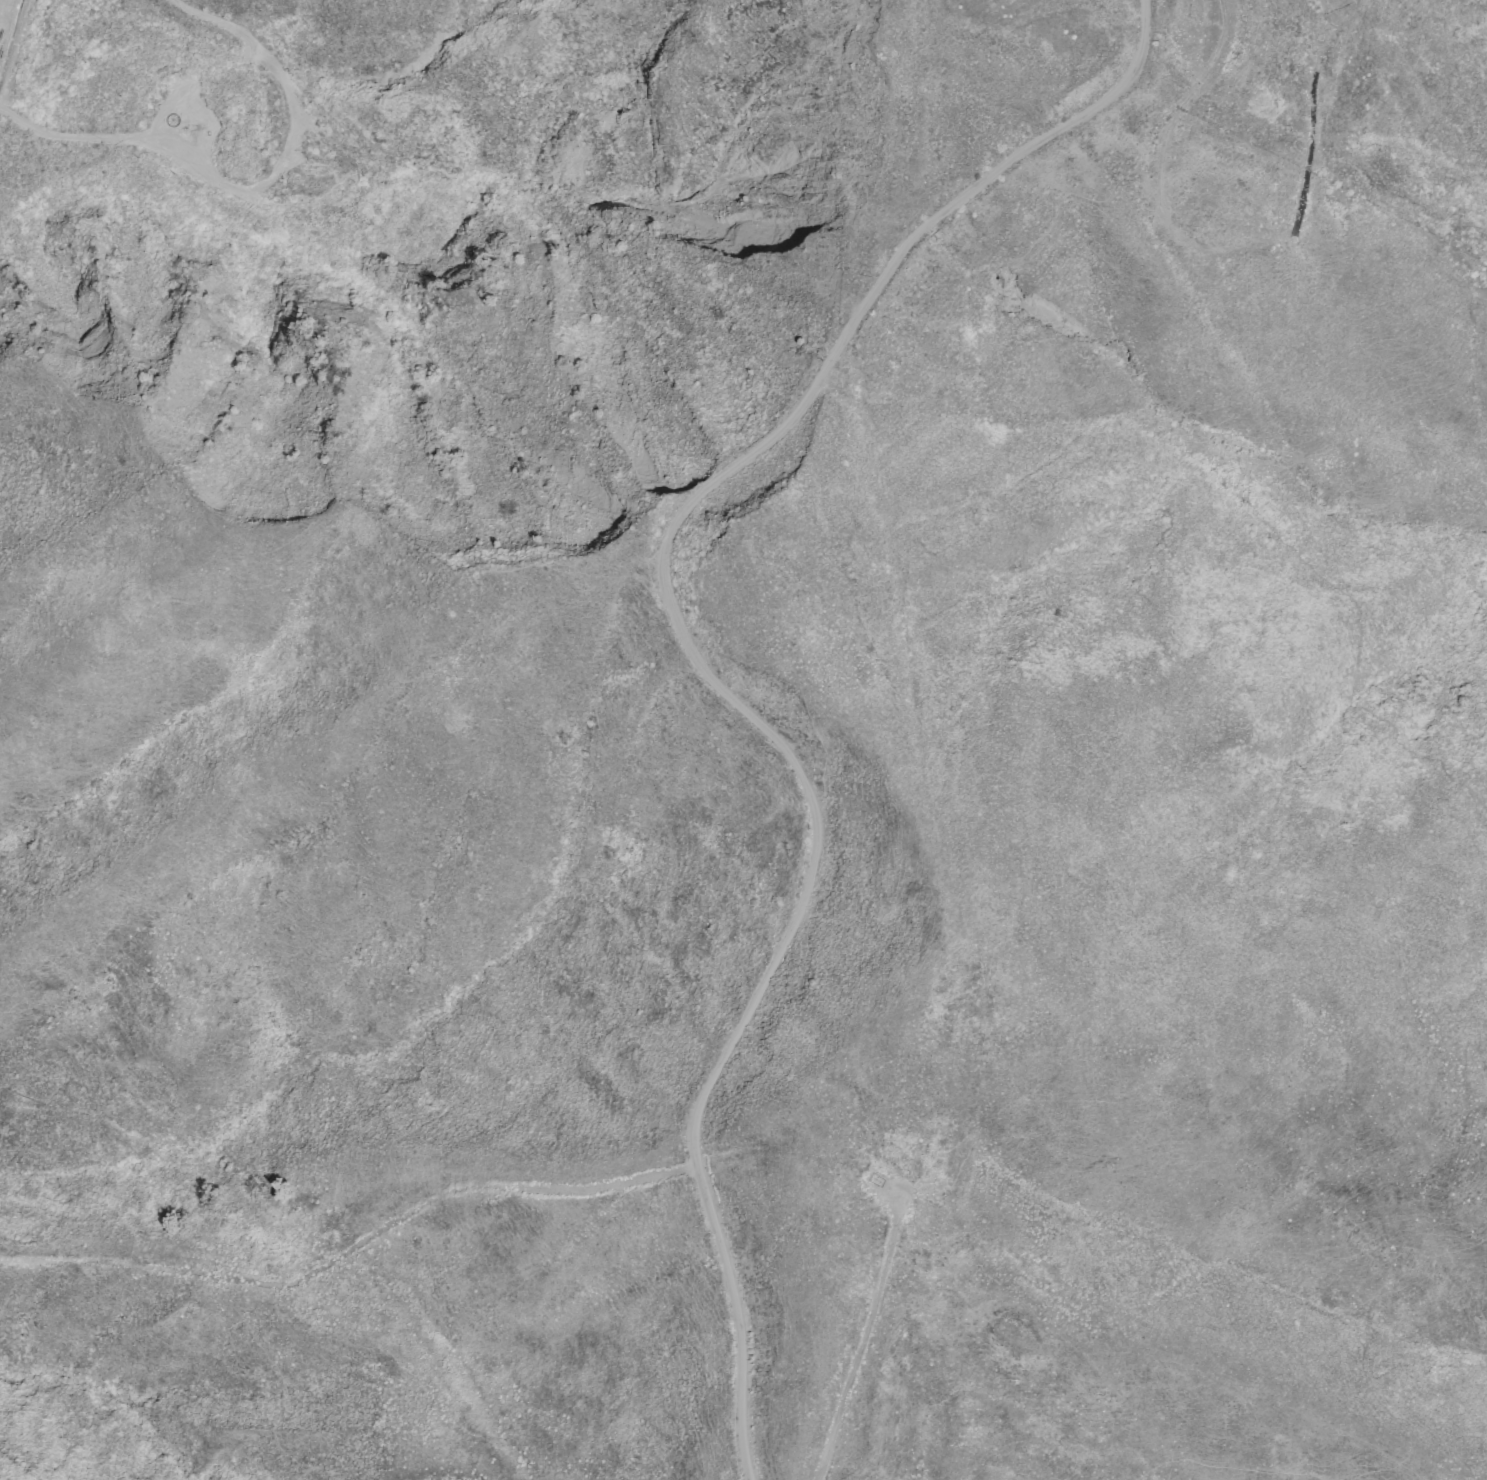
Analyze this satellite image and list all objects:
road: (11, 47)
road: (306, 207)
road: (705, 671)

